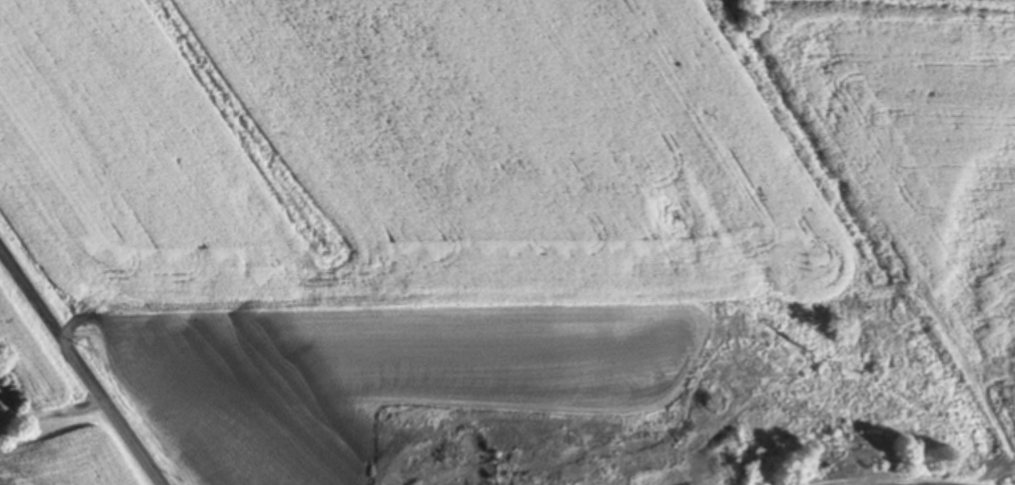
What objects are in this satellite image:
road: (82, 367)

